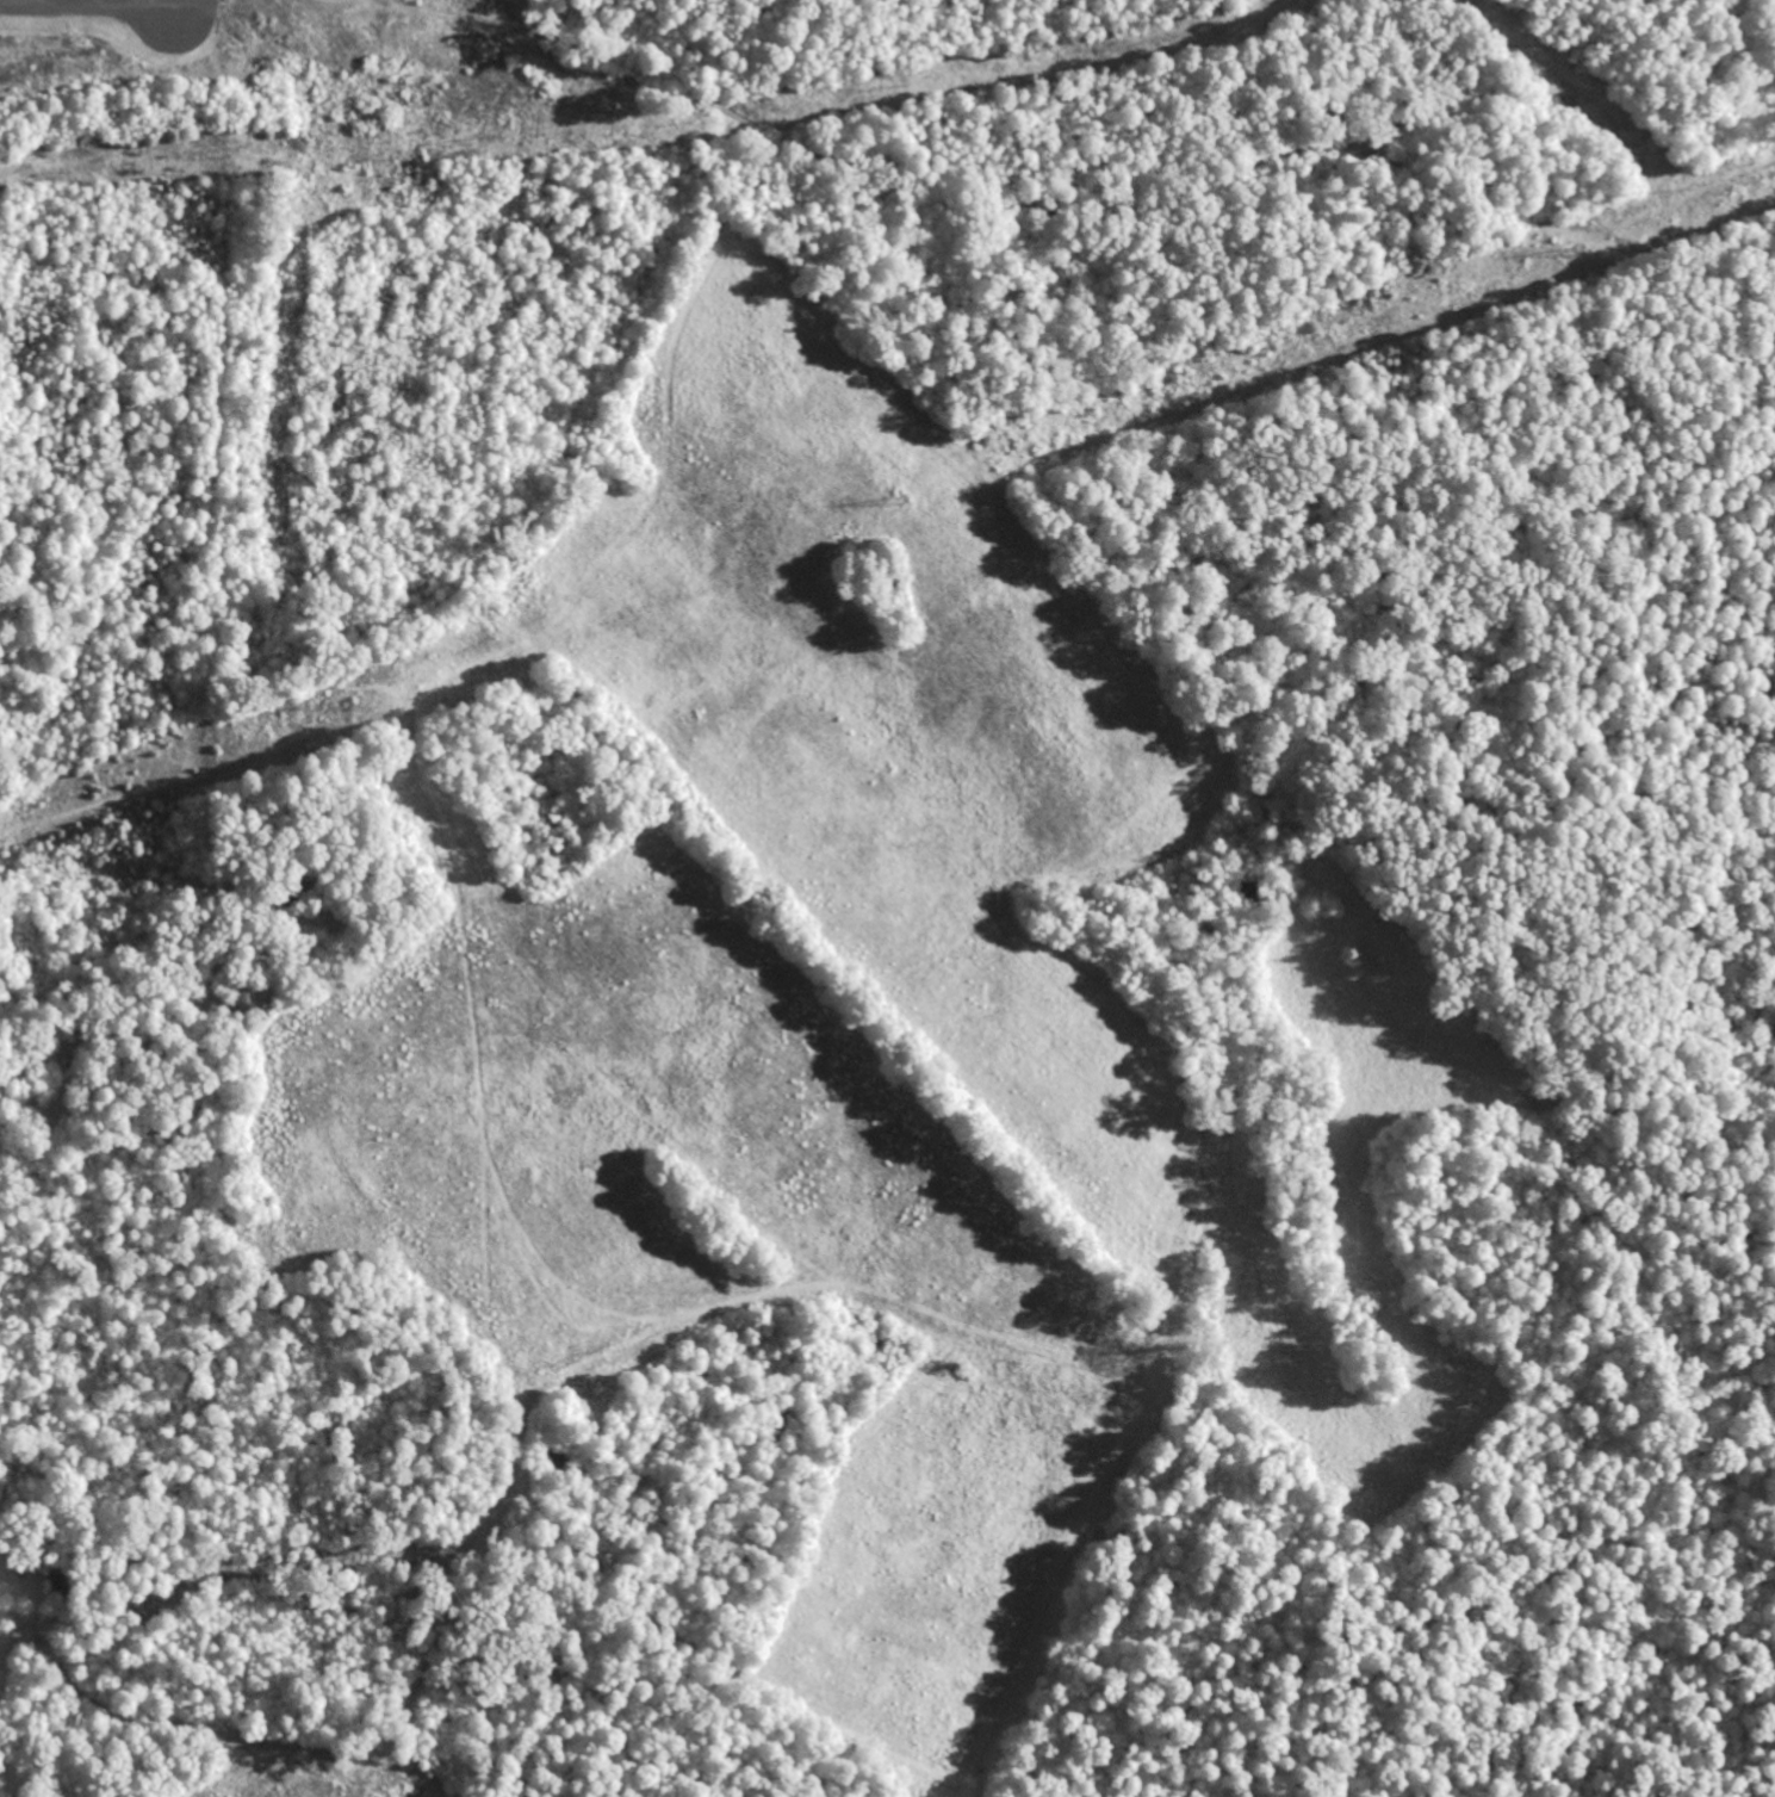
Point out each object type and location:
road: (76, 5)
road: (85, 11)
road: (112, 1016)
building: (72, 1067)

